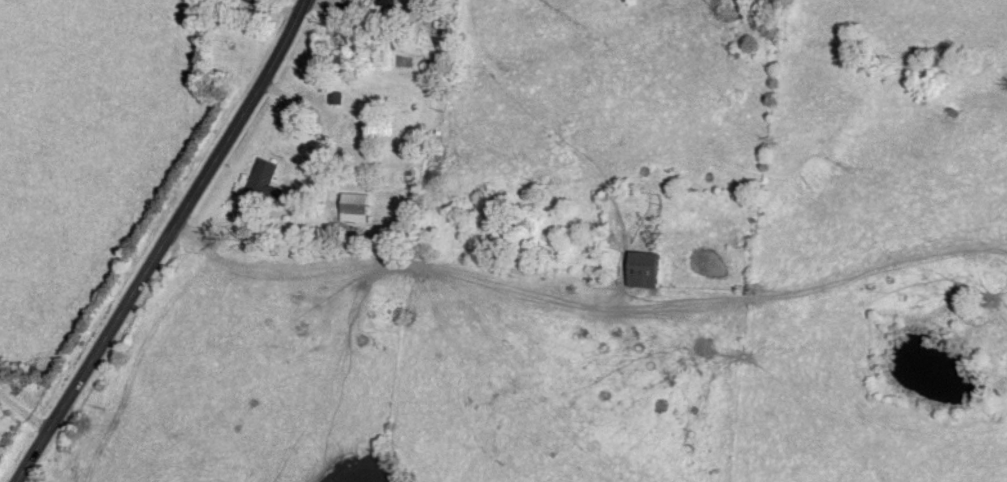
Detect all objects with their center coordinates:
building: (249, 2)
building: (385, 4)
building: (265, 185)
building: (353, 205)
road: (165, 242)
building: (642, 271)
road: (26, 414)

